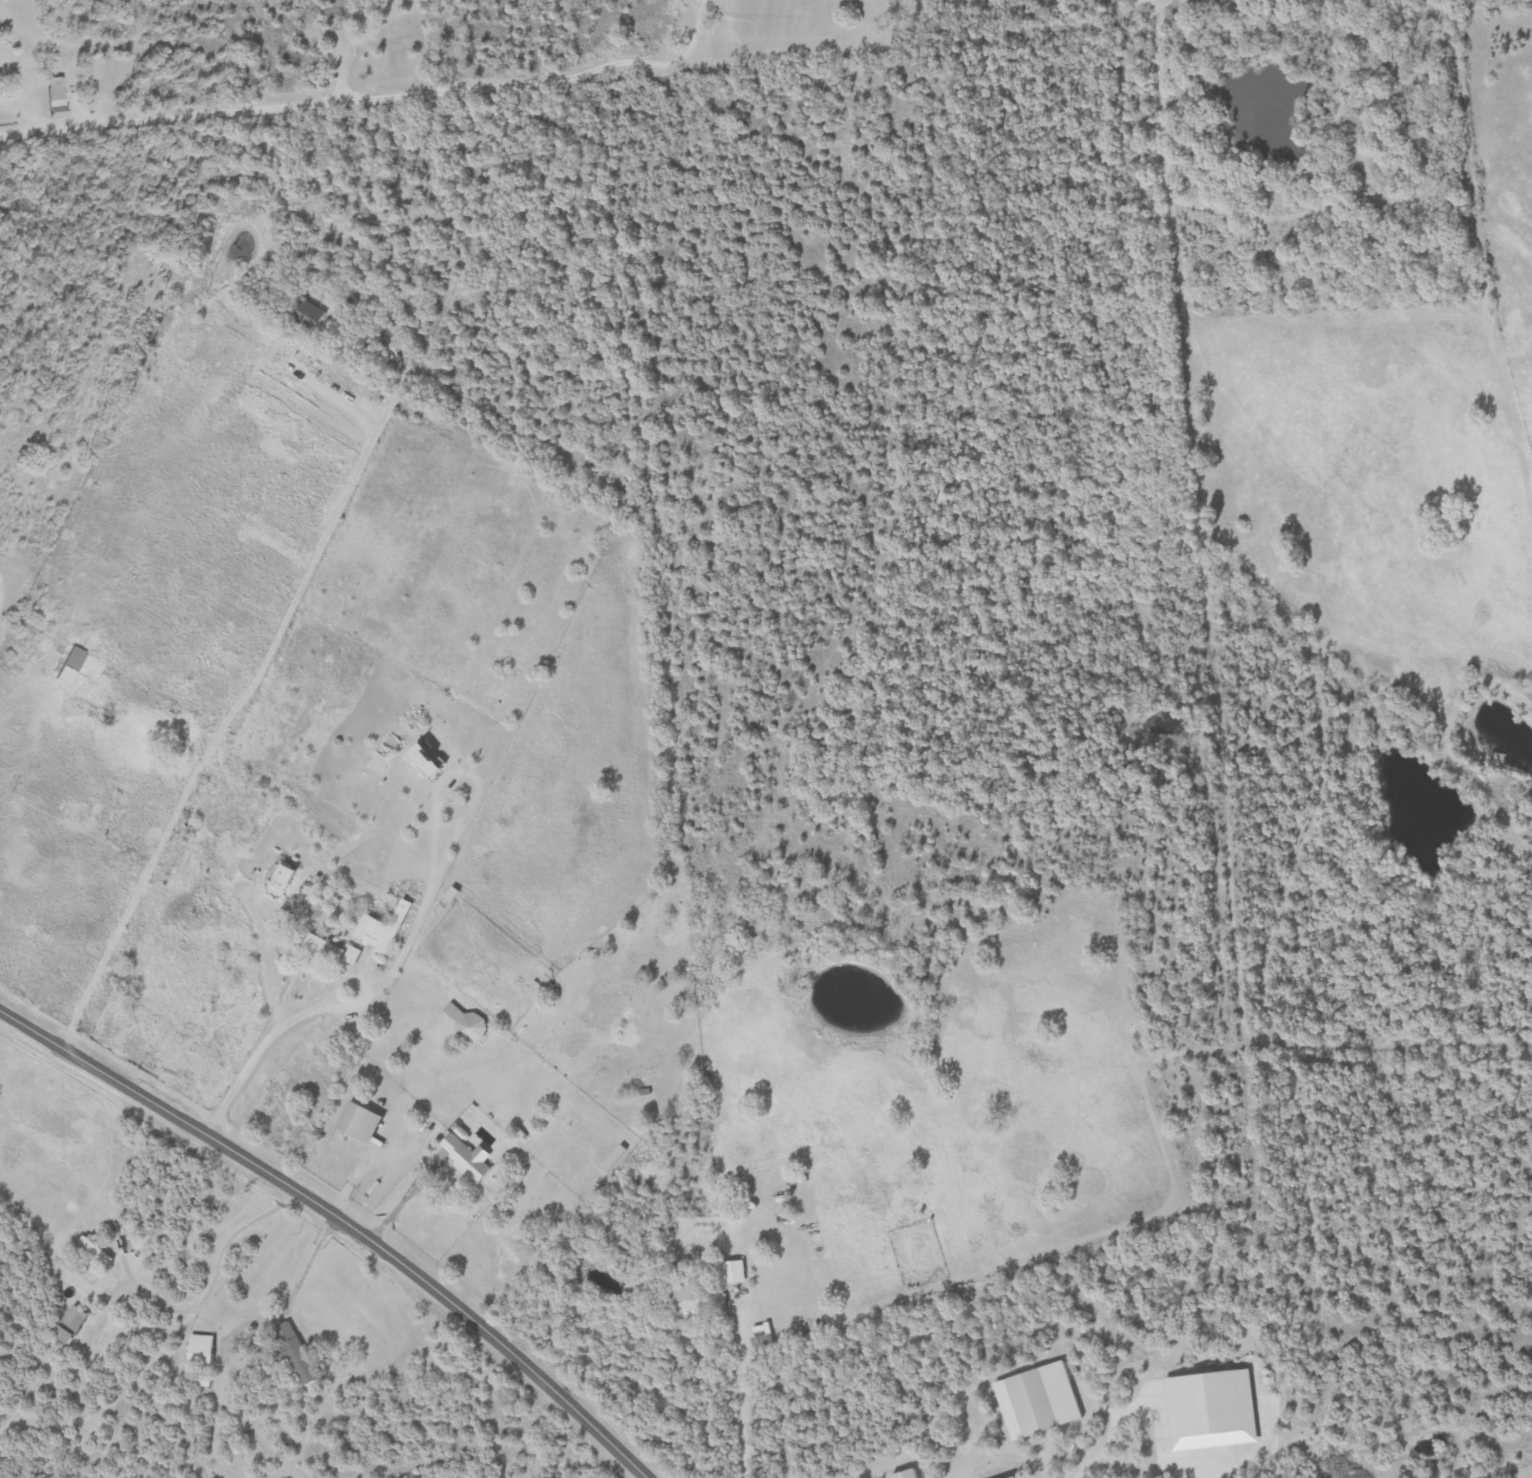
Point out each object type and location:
road: (372, 99)
building: (56, 102)
road: (392, 318)
road: (311, 568)
building: (70, 666)
building: (286, 880)
road: (135, 890)
building: (381, 929)
building: (334, 950)
building: (465, 1022)
road: (259, 1045)
building: (363, 1122)
road: (428, 1149)
building: (466, 1158)
road: (342, 1218)
building: (97, 1250)
building: (688, 1300)
building: (74, 1324)
building: (202, 1349)
building: (293, 1351)
road: (741, 1390)
building: (1028, 1404)
road: (1006, 1456)
building: (908, 1474)
building: (1020, 1477)

